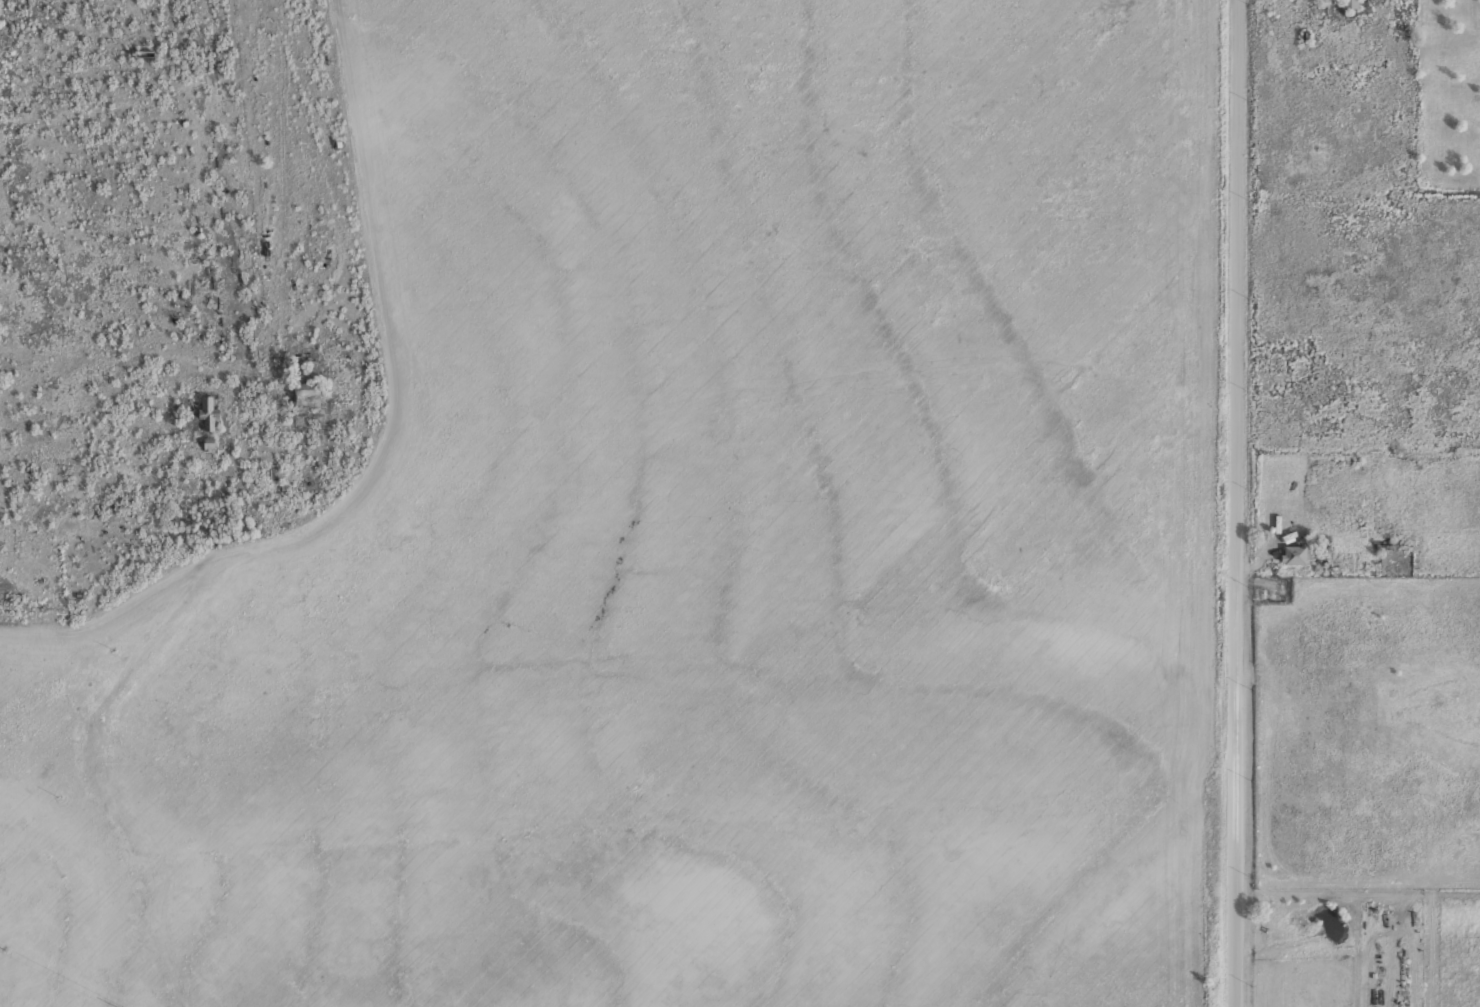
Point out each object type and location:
building: (1348, 3)
road: (246, 201)
road: (1238, 219)
building: (302, 394)
building: (208, 412)
building: (1293, 553)
road: (1238, 723)

